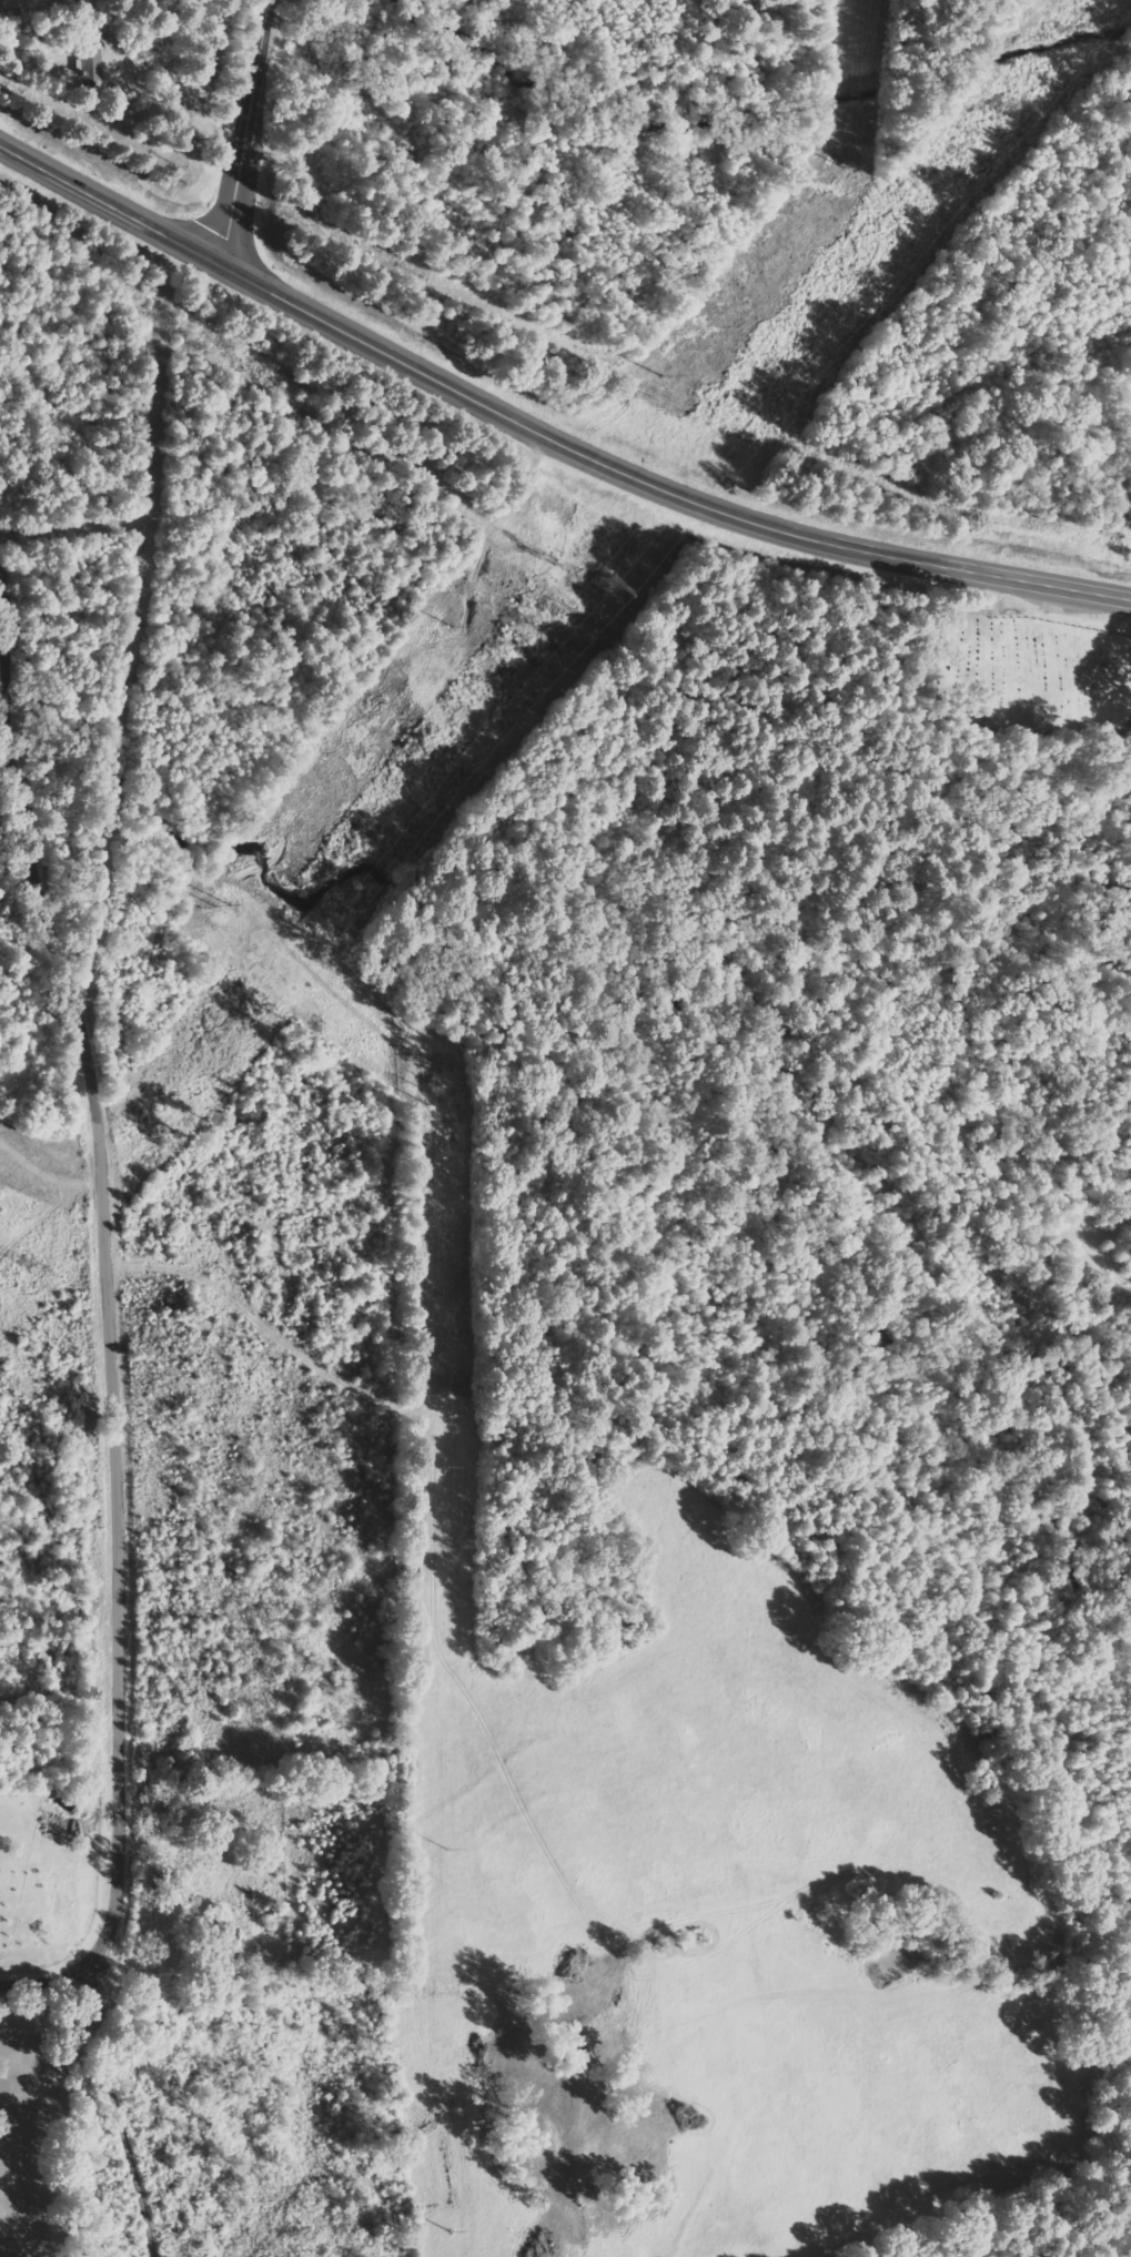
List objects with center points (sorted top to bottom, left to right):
building: (87, 65)
road: (246, 133)
road: (542, 432)
park: (1127, 537)
park: (1026, 682)
road: (936, 690)
road: (87, 1276)
road: (59, 1963)

